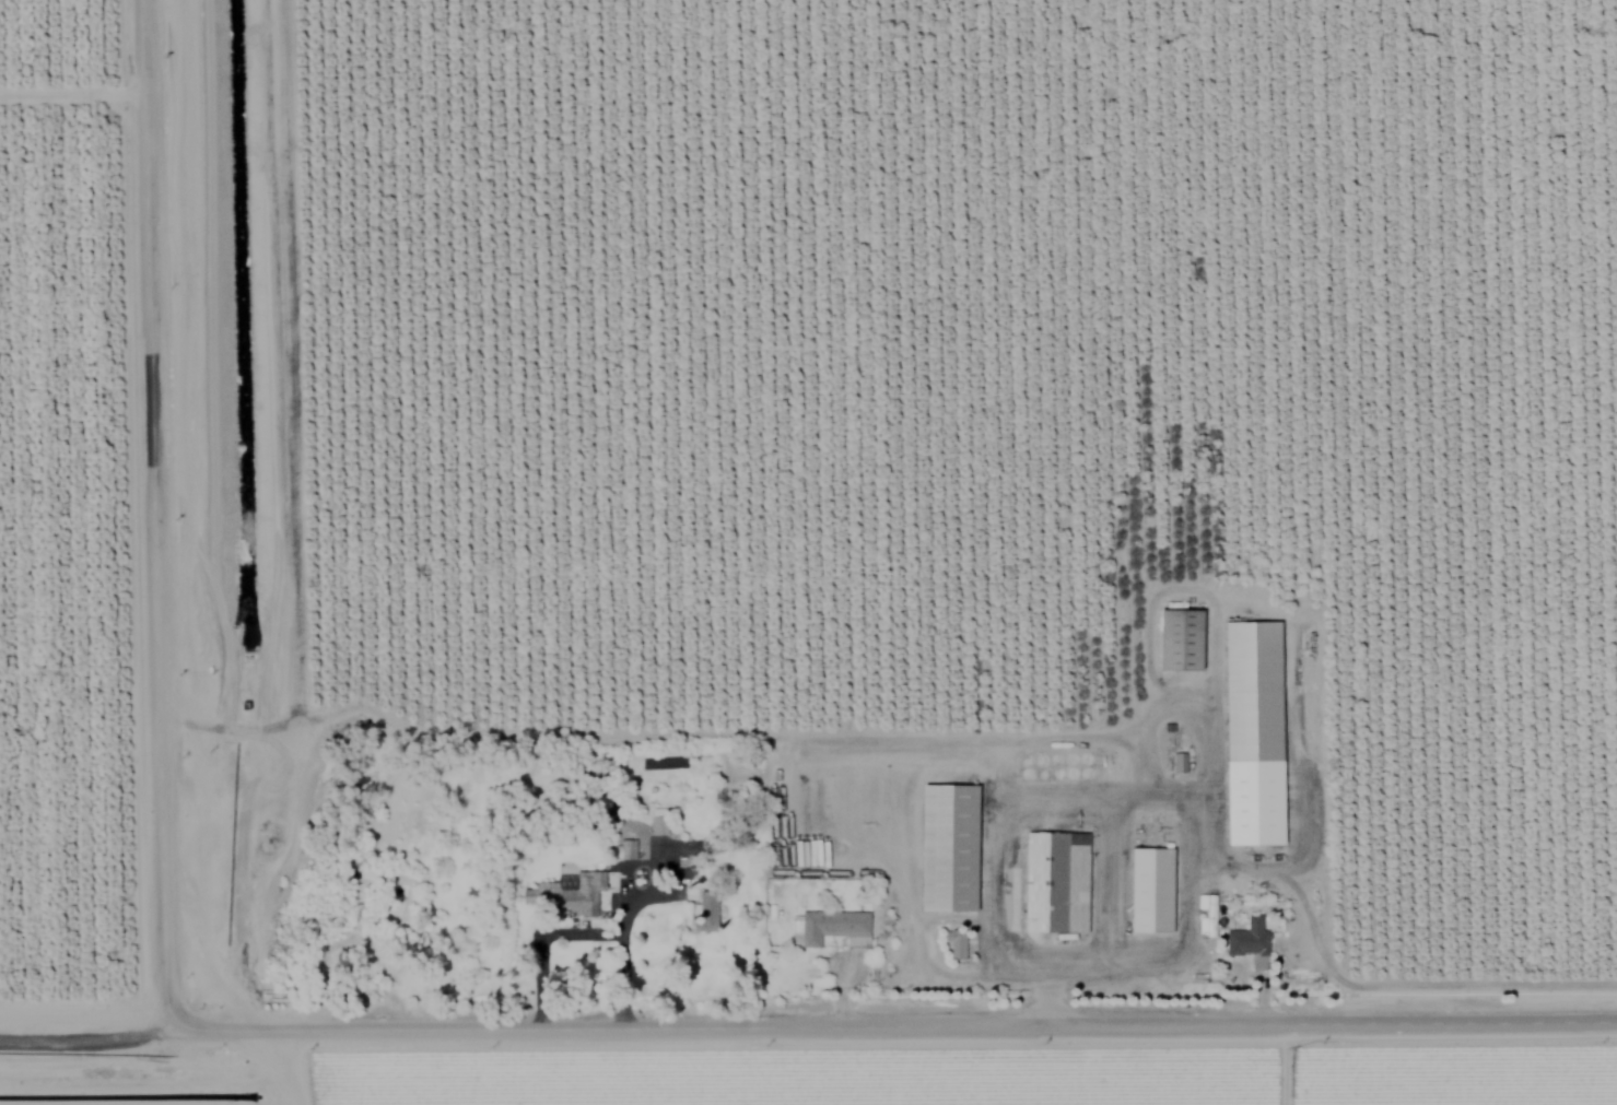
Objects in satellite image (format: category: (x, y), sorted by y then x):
road: (148, 513)
building: (1181, 637)
building: (1255, 731)
road: (586, 733)
building: (1177, 761)
road: (1127, 800)
building: (950, 846)
building: (1055, 881)
building: (1152, 889)
building: (567, 891)
building: (704, 910)
building: (829, 926)
building: (954, 941)
building: (1249, 941)
road: (626, 950)
road: (1234, 972)
road: (544, 975)
road: (808, 1021)
crop: (923, 1077)

